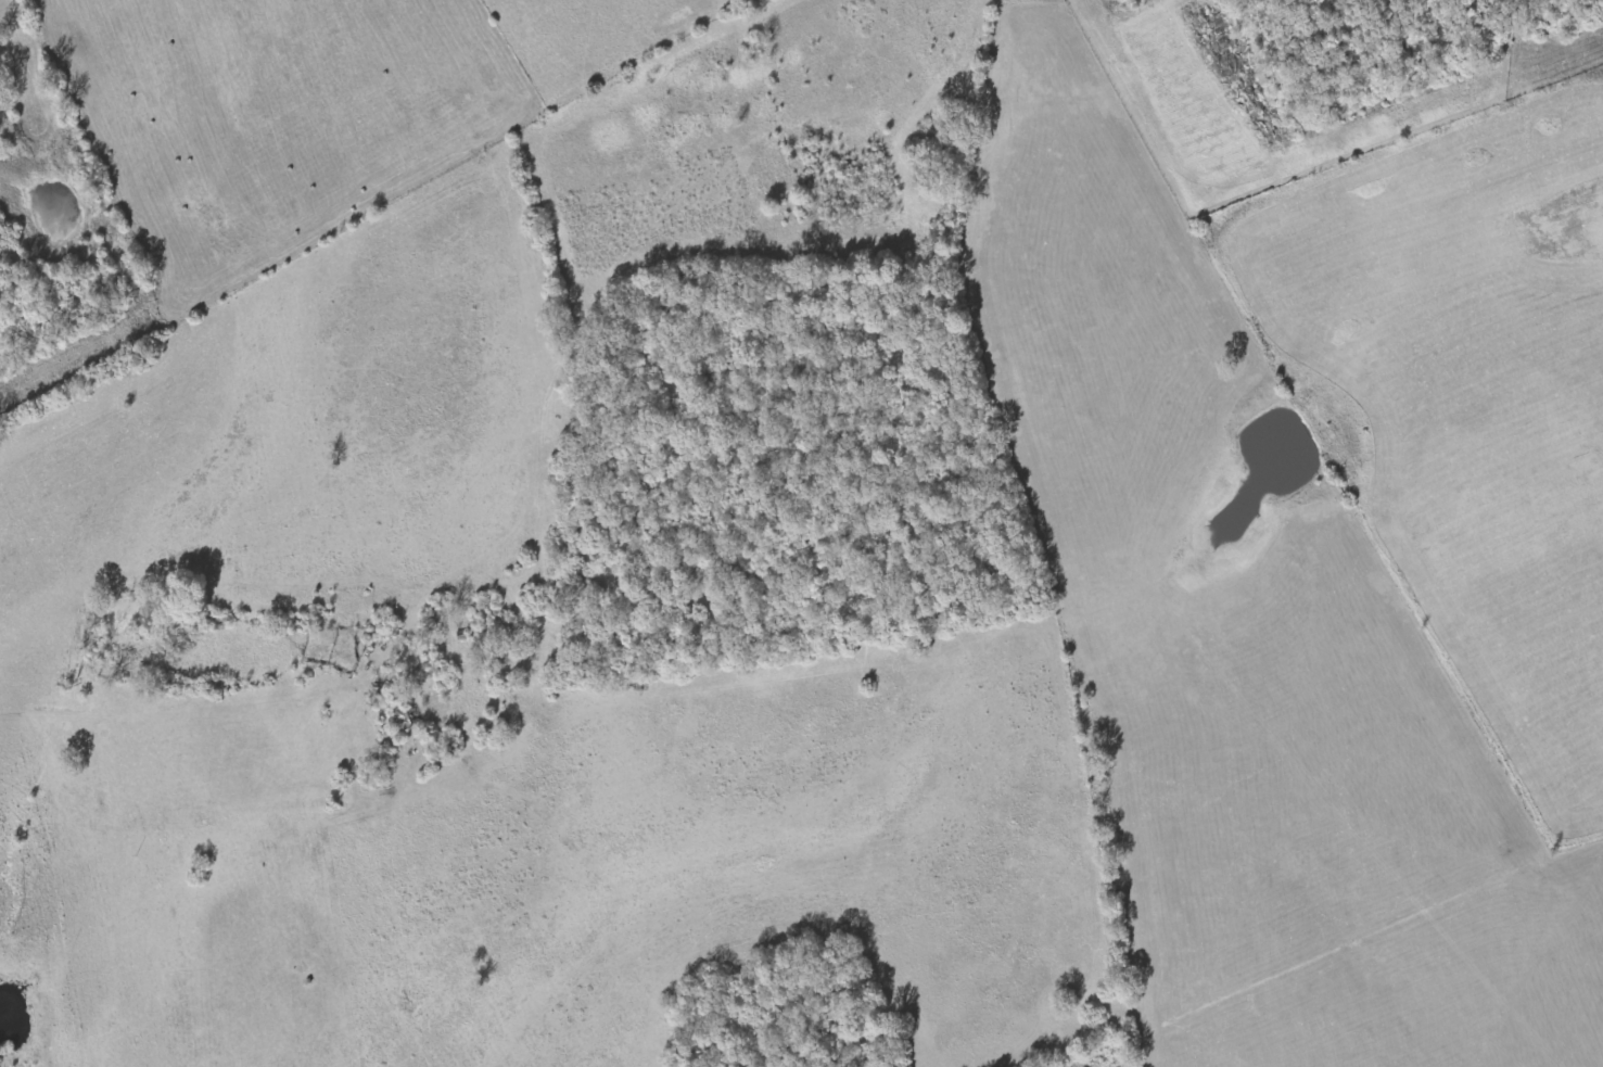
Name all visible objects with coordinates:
road: (168, 714)

